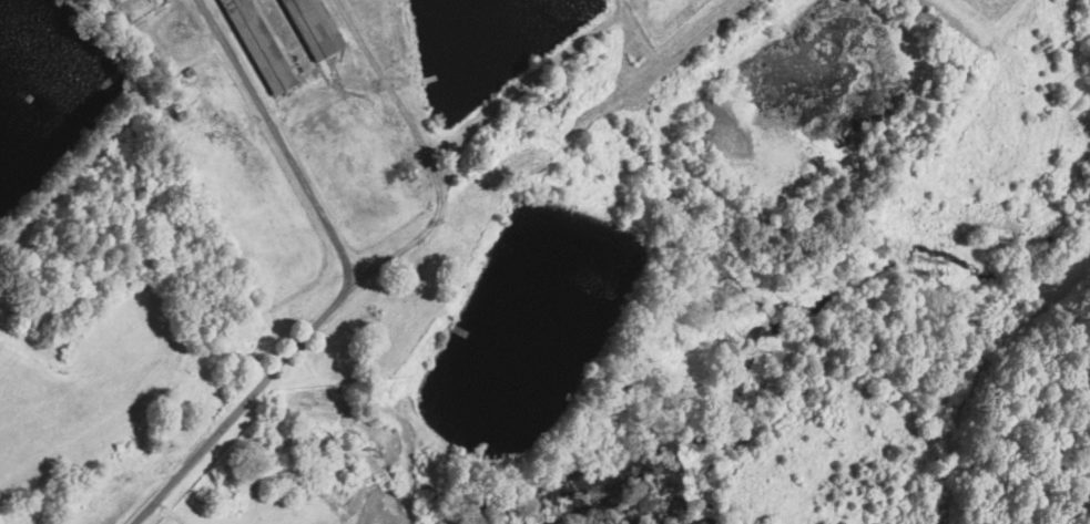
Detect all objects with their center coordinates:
building: (313, 28)
building: (257, 45)
road: (346, 281)

